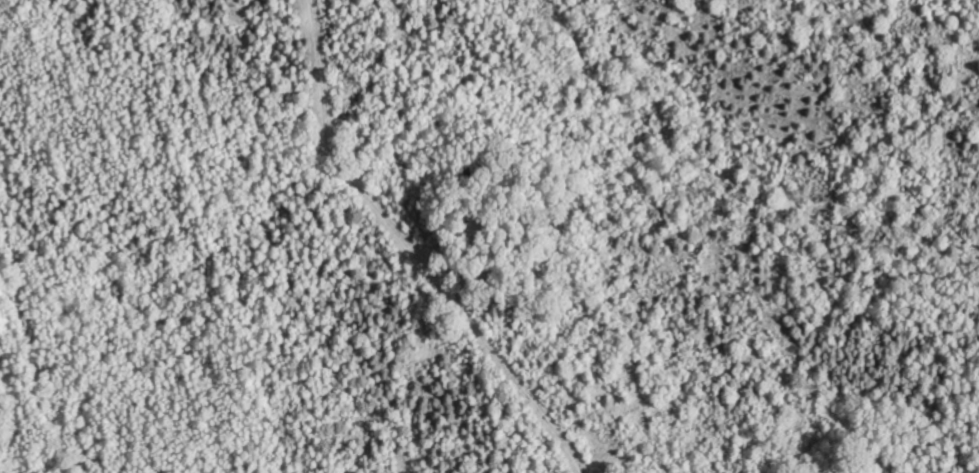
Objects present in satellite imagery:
road: (624, 193)

